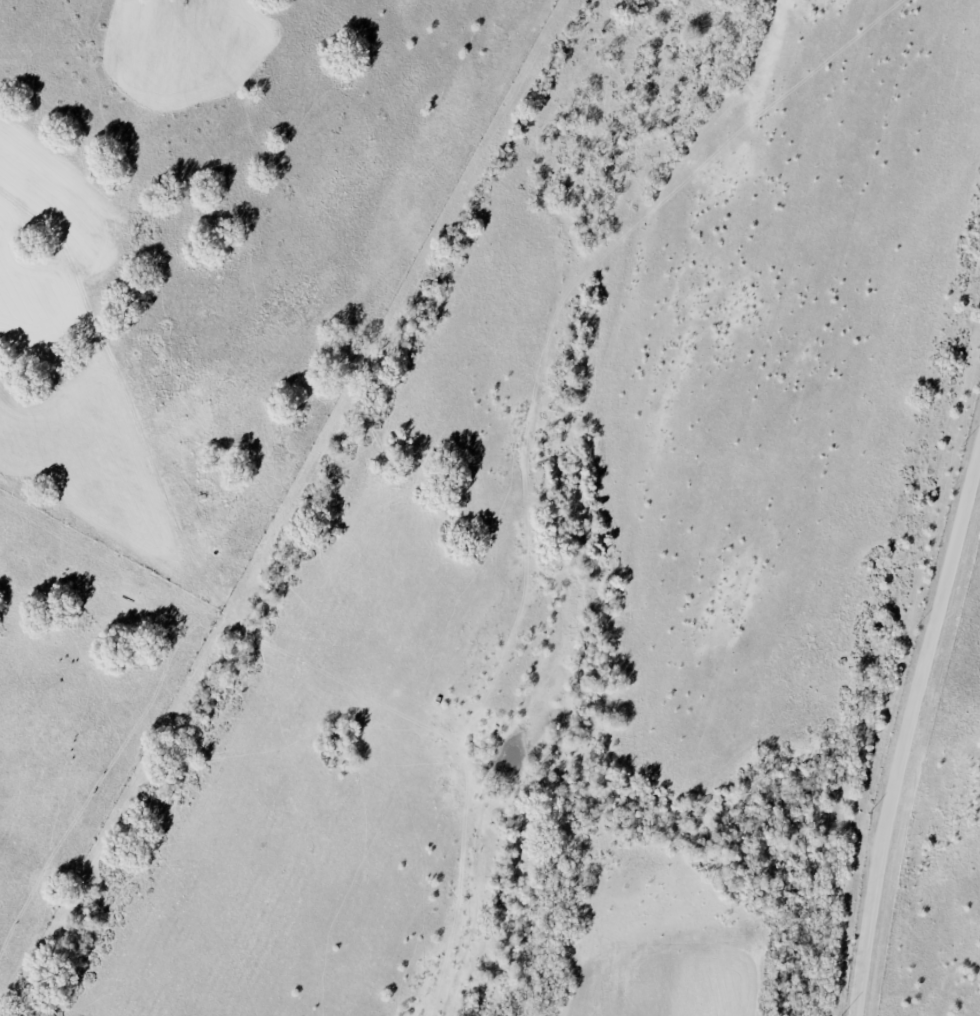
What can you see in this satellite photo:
road: (911, 736)

